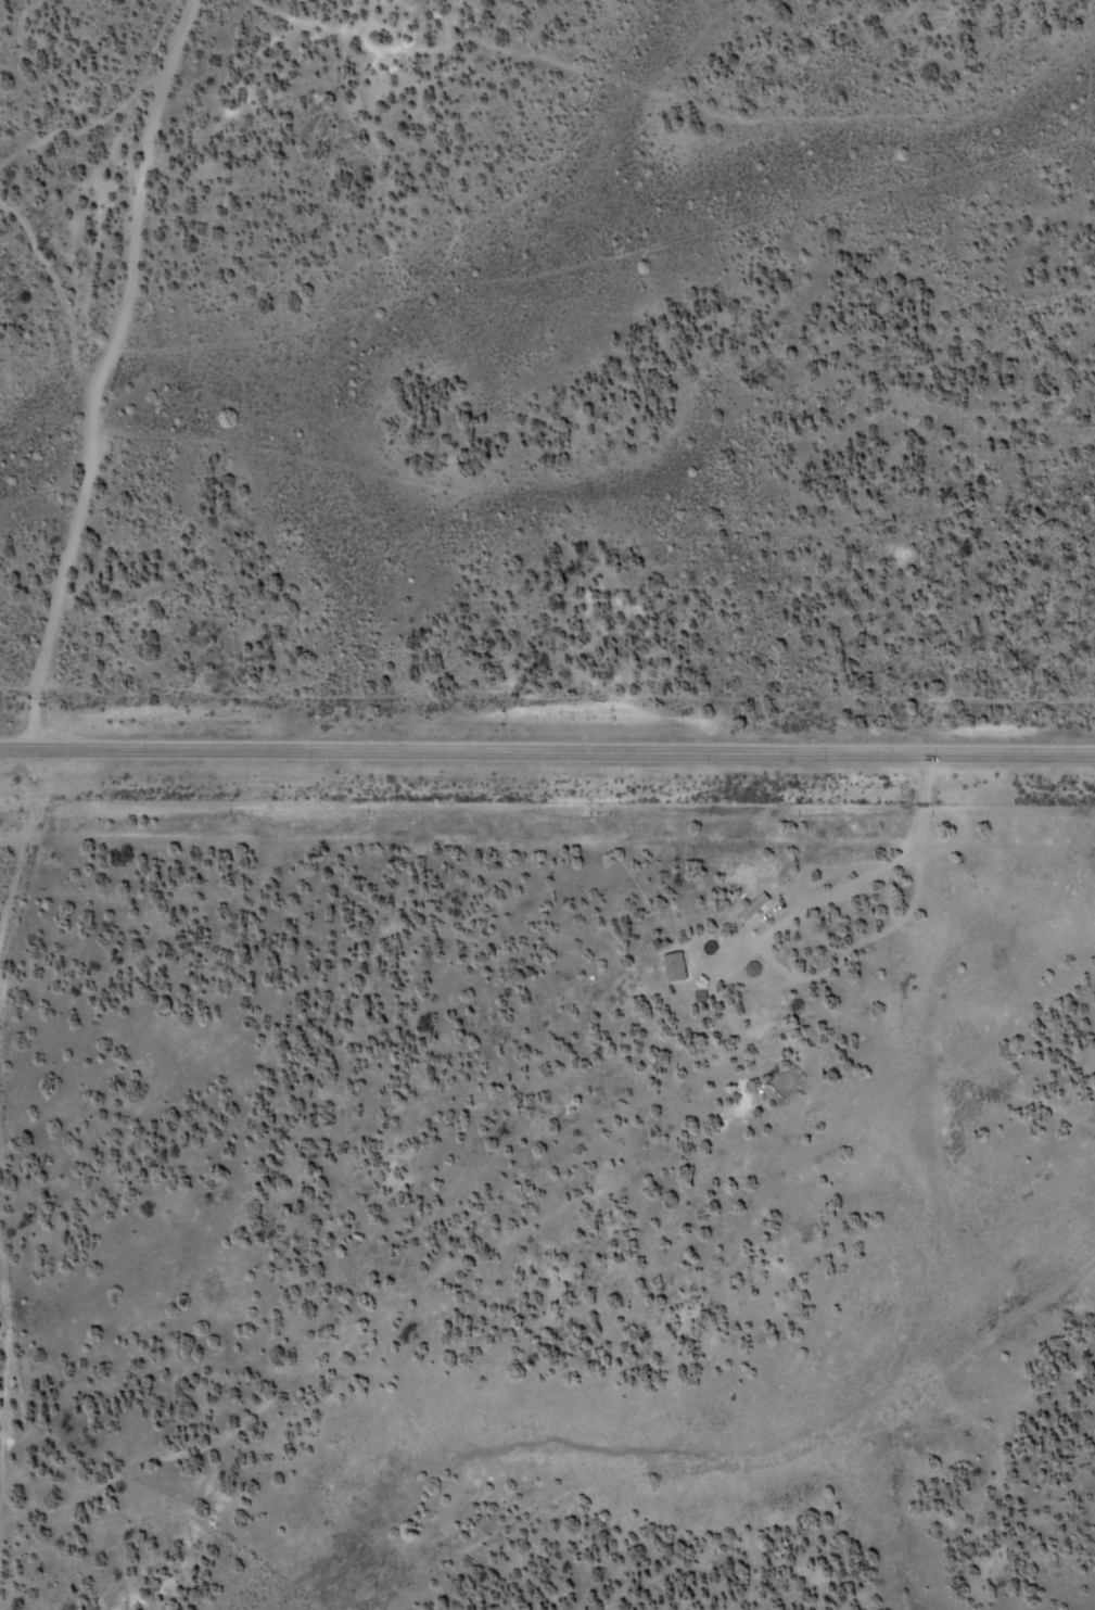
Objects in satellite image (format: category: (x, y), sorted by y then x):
road: (85, 533)
road: (547, 745)
road: (848, 885)
building: (750, 908)
building: (671, 966)
road: (15, 1360)
road: (761, 1461)

